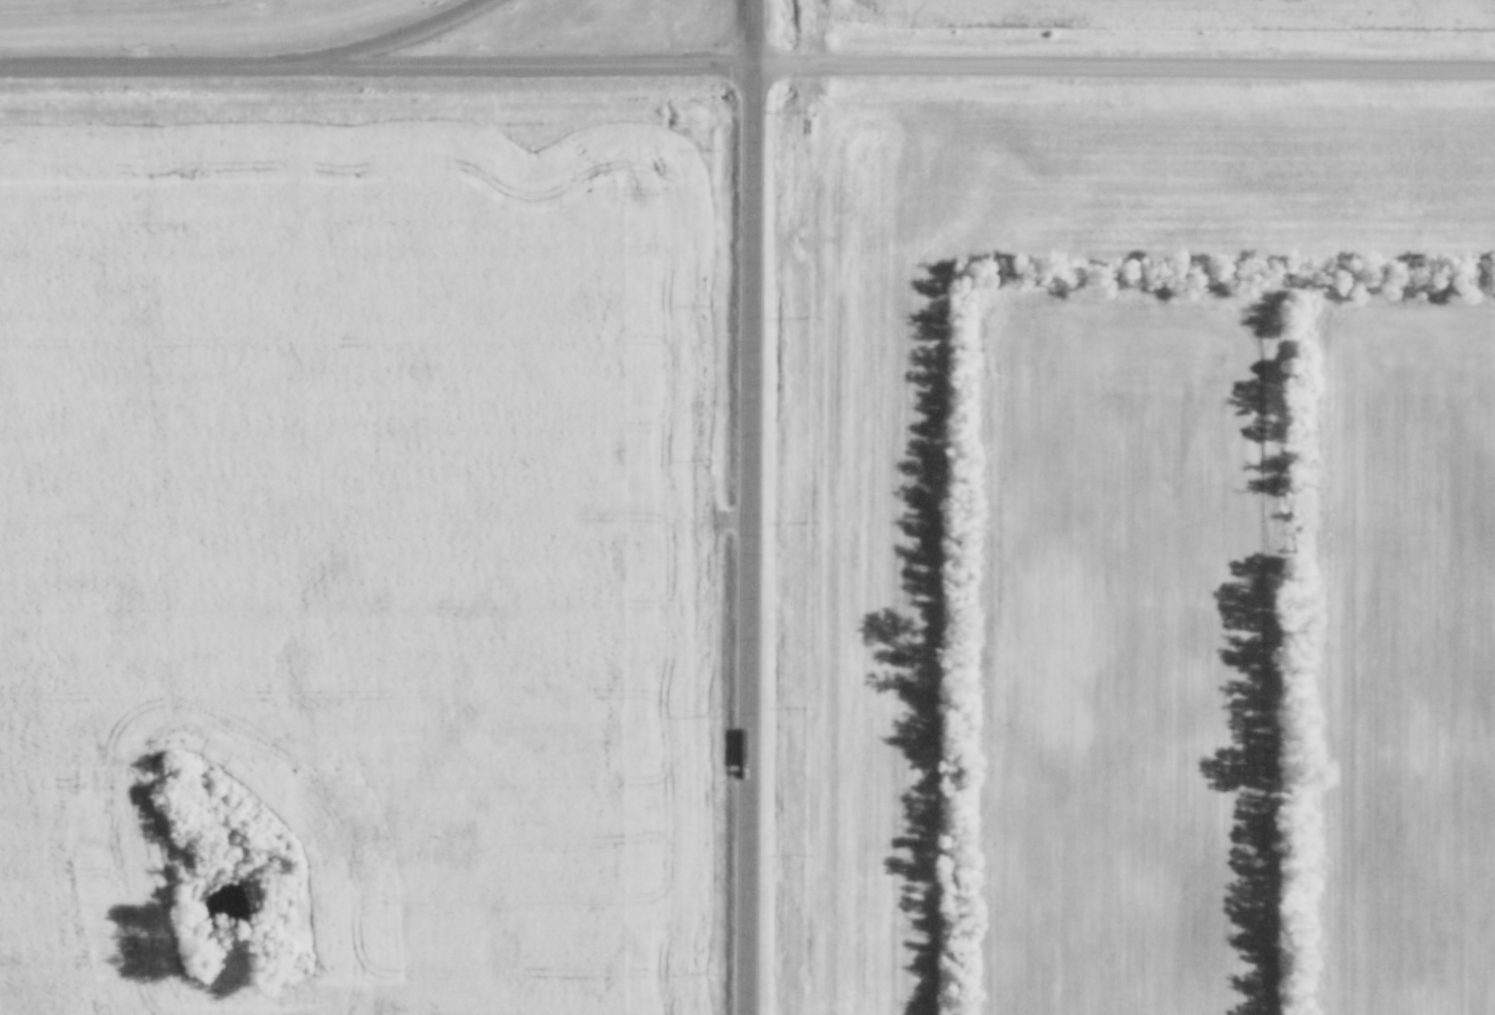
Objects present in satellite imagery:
road: (387, 47)
road: (1126, 70)
road: (515, 72)
road: (136, 73)
road: (756, 507)

